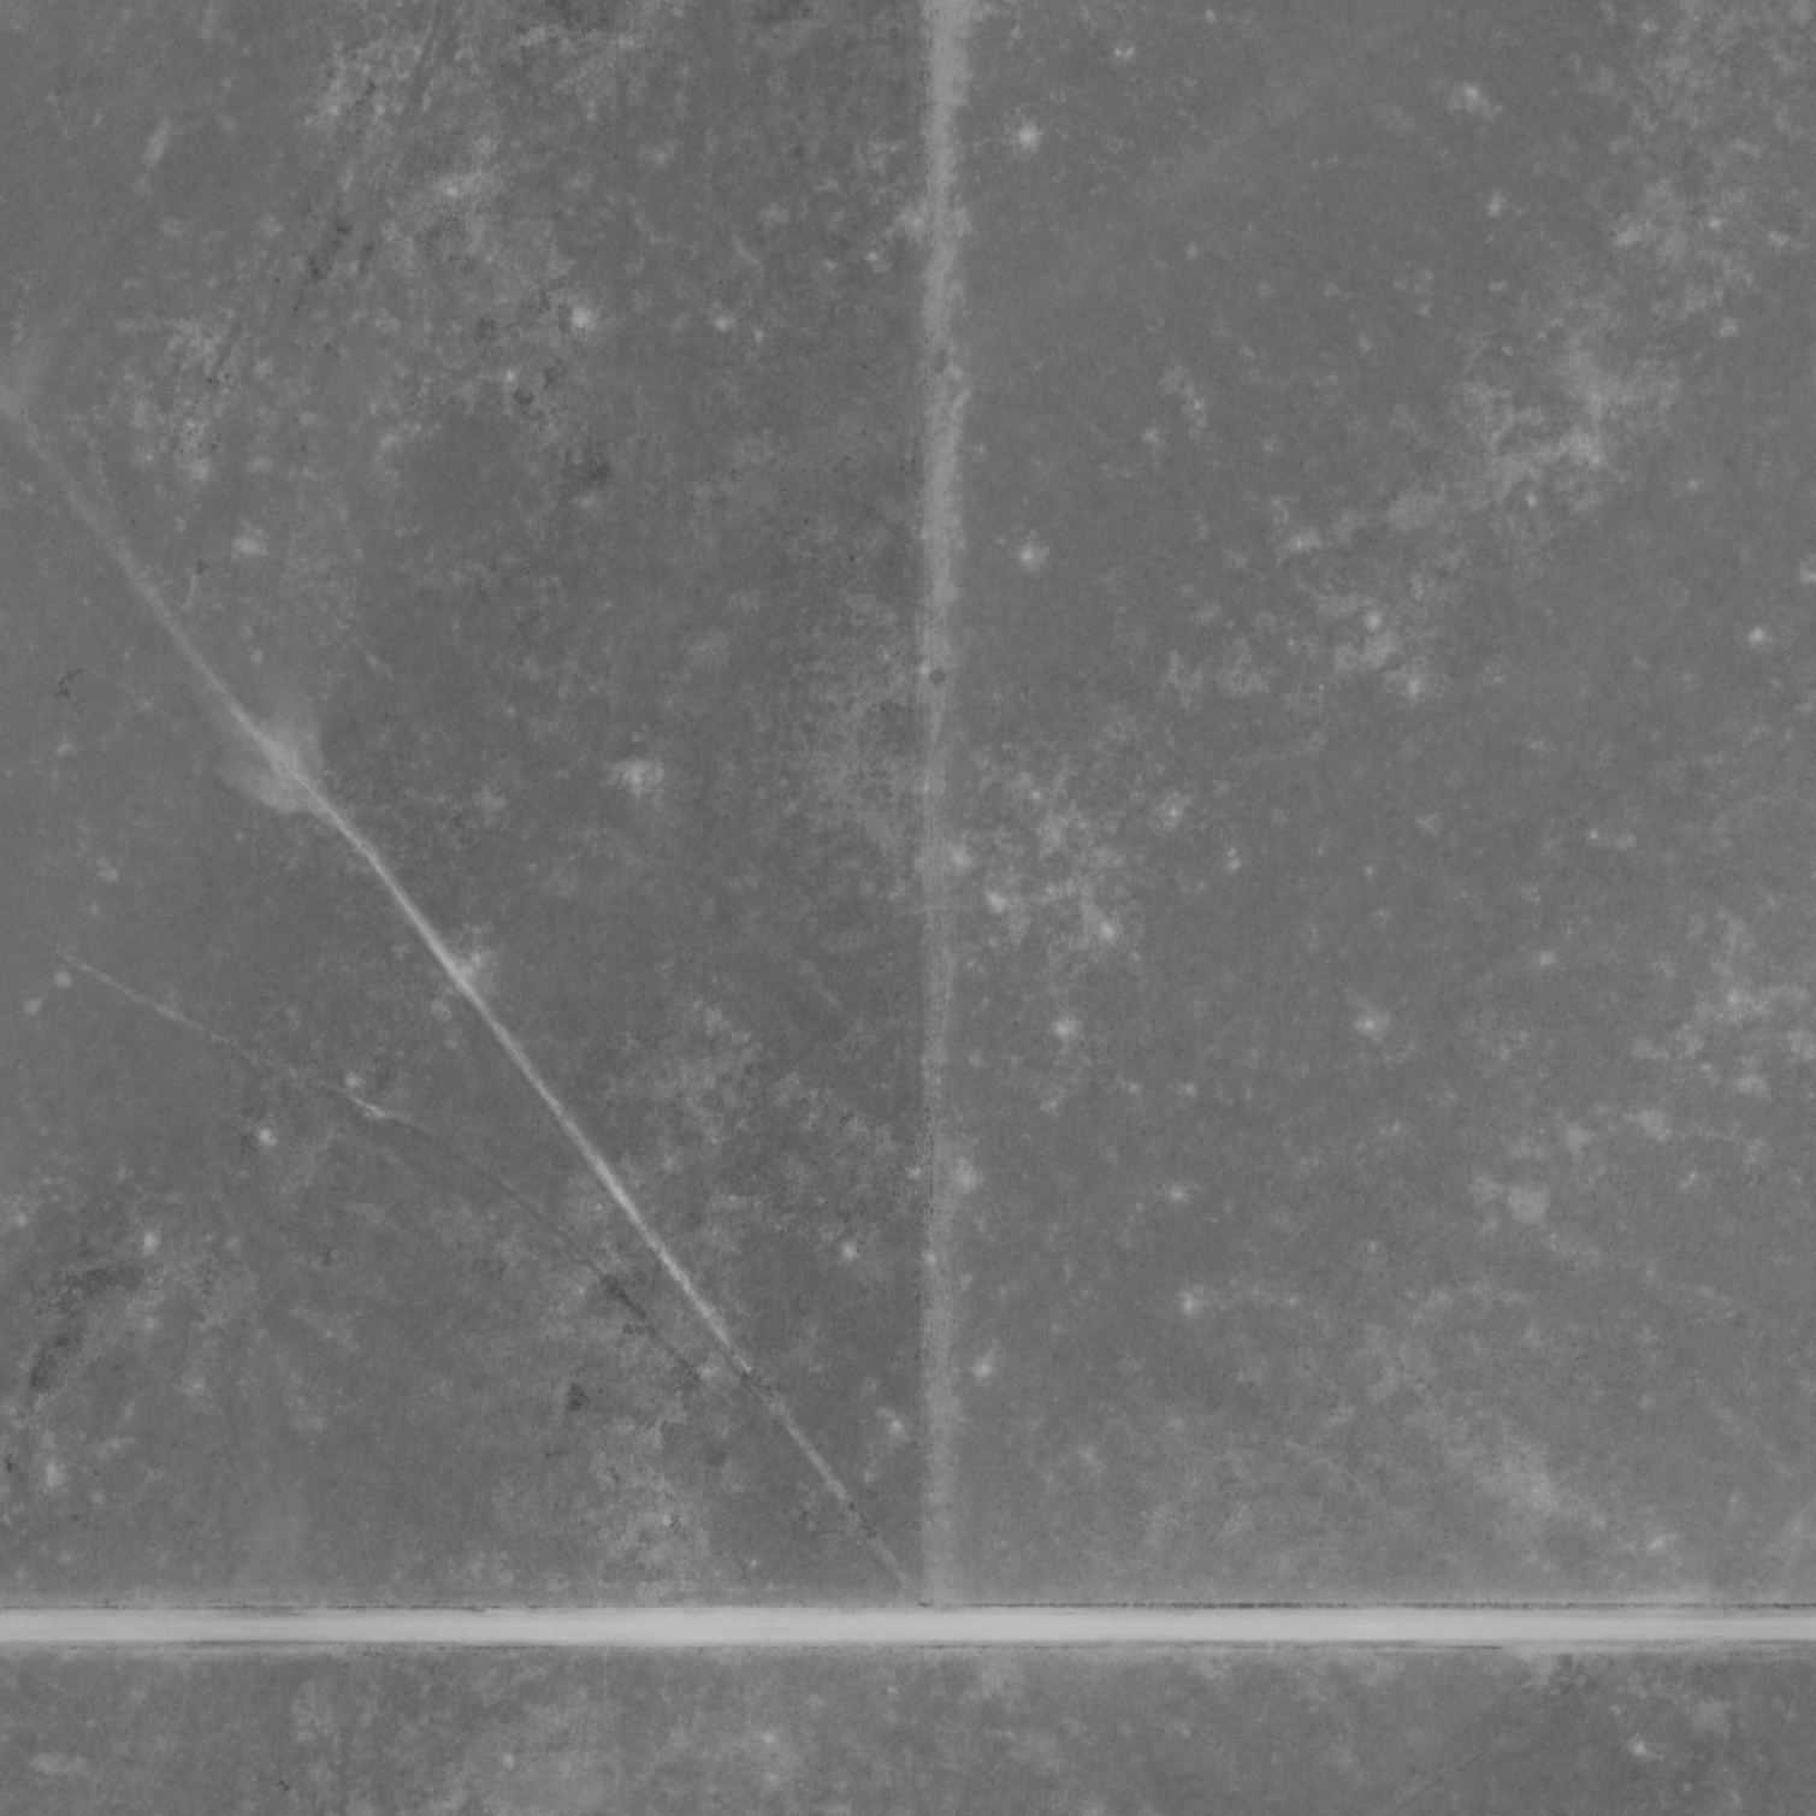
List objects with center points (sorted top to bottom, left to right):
road: (907, 1619)

